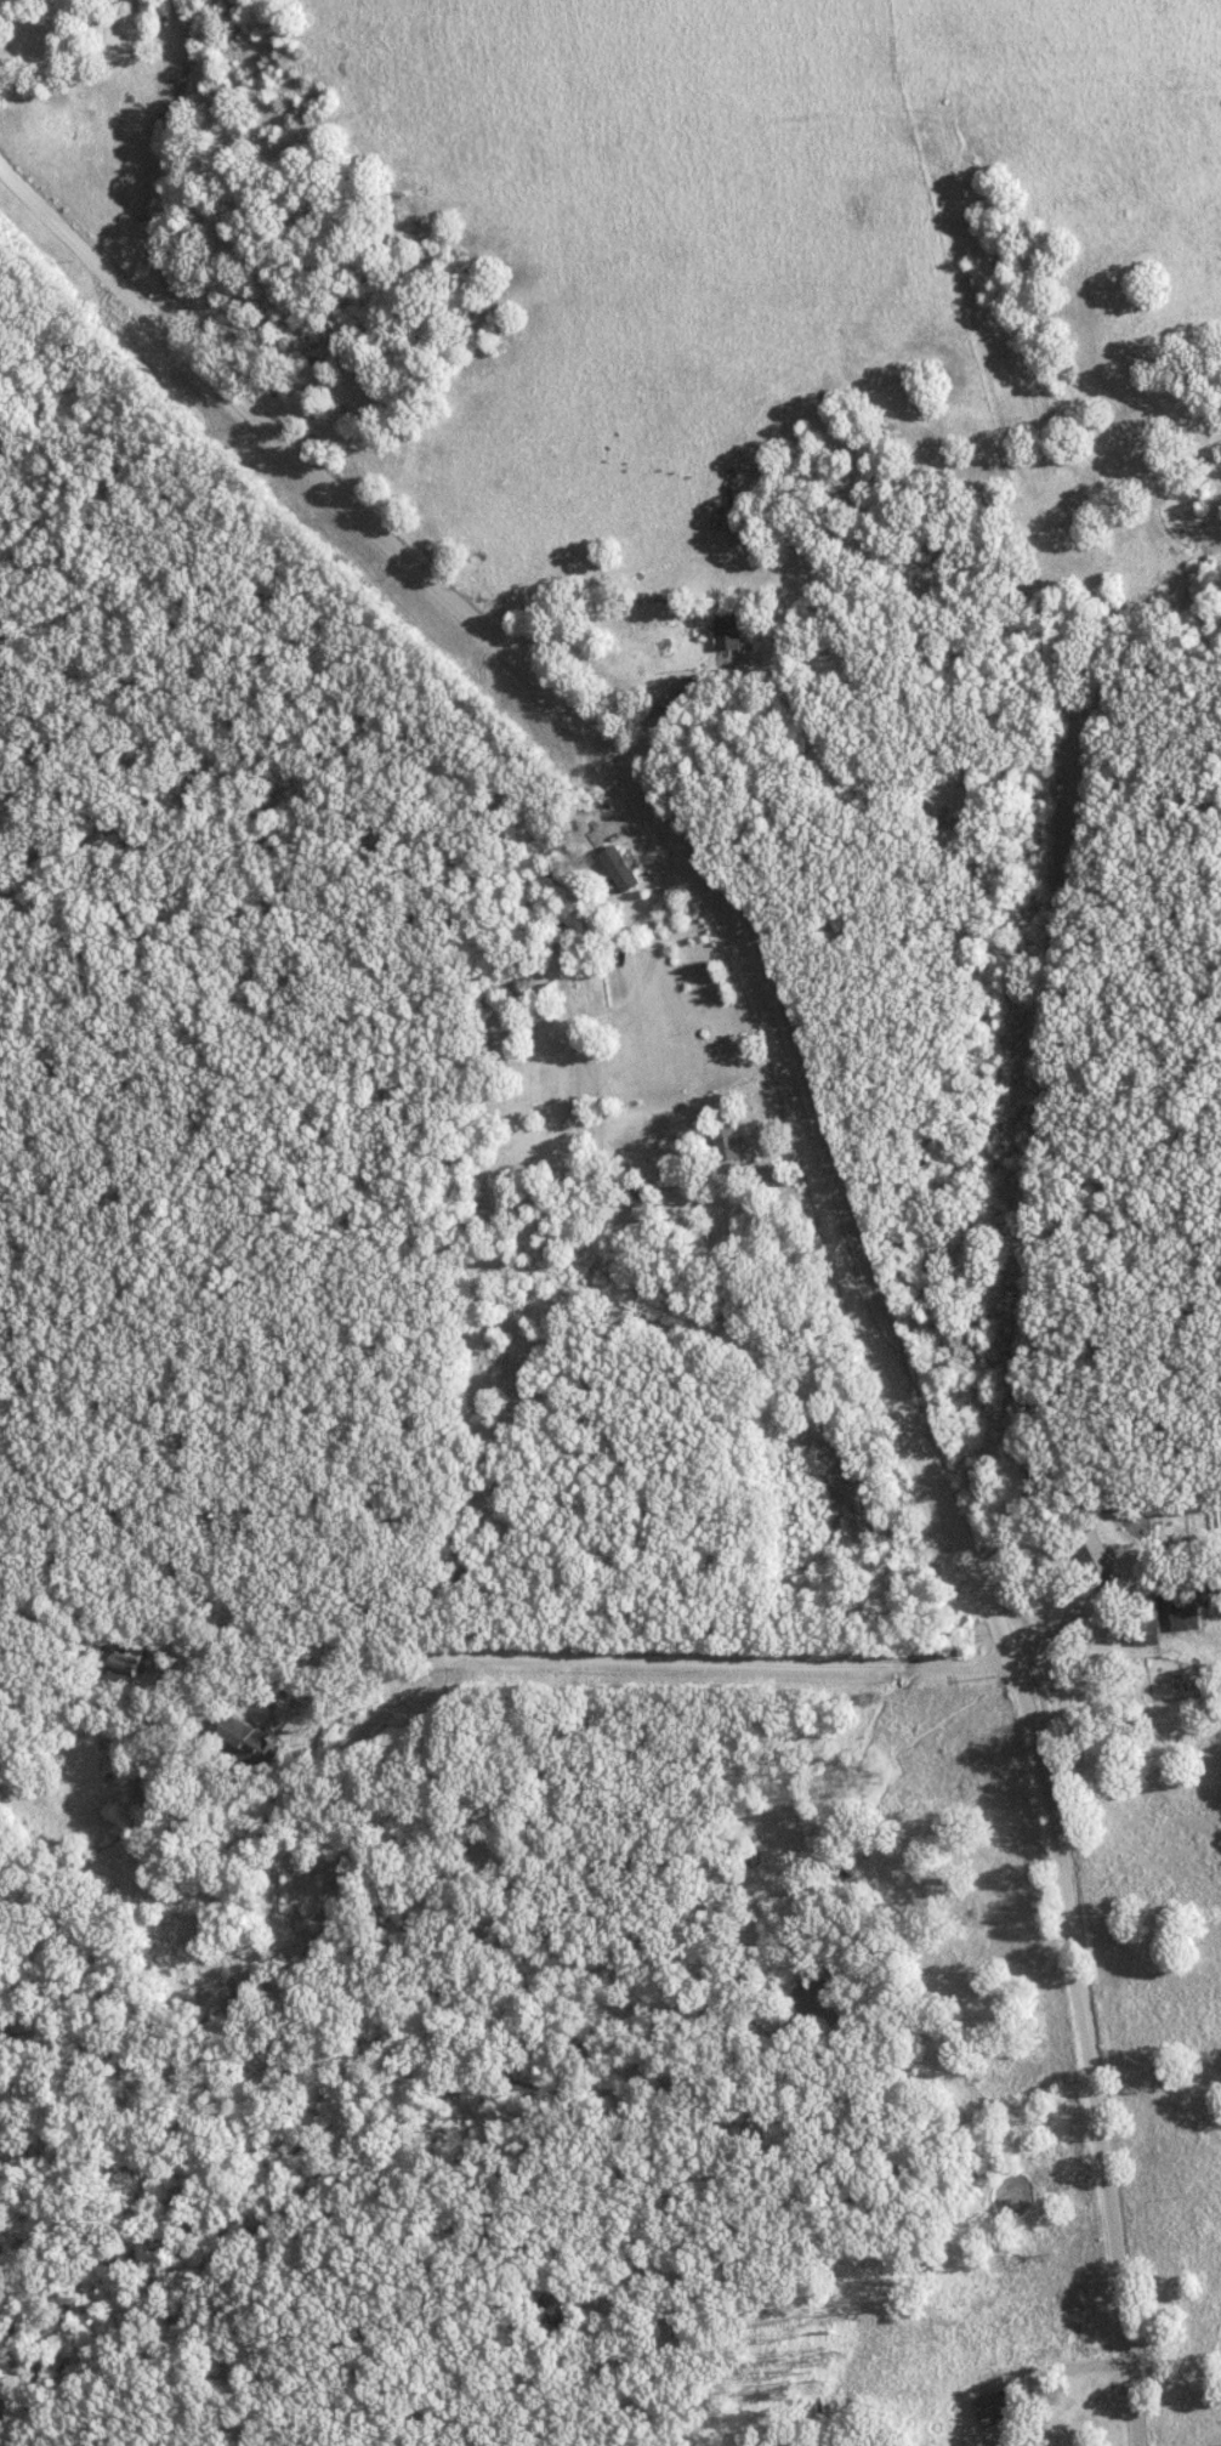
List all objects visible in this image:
road: (52, 324)
building: (725, 630)
road: (664, 708)
building: (617, 868)
building: (725, 1143)
road: (802, 1177)
building: (1181, 1614)
building: (1145, 1619)
road: (636, 1661)
building: (123, 1664)
building: (245, 1738)
building: (990, 2406)

